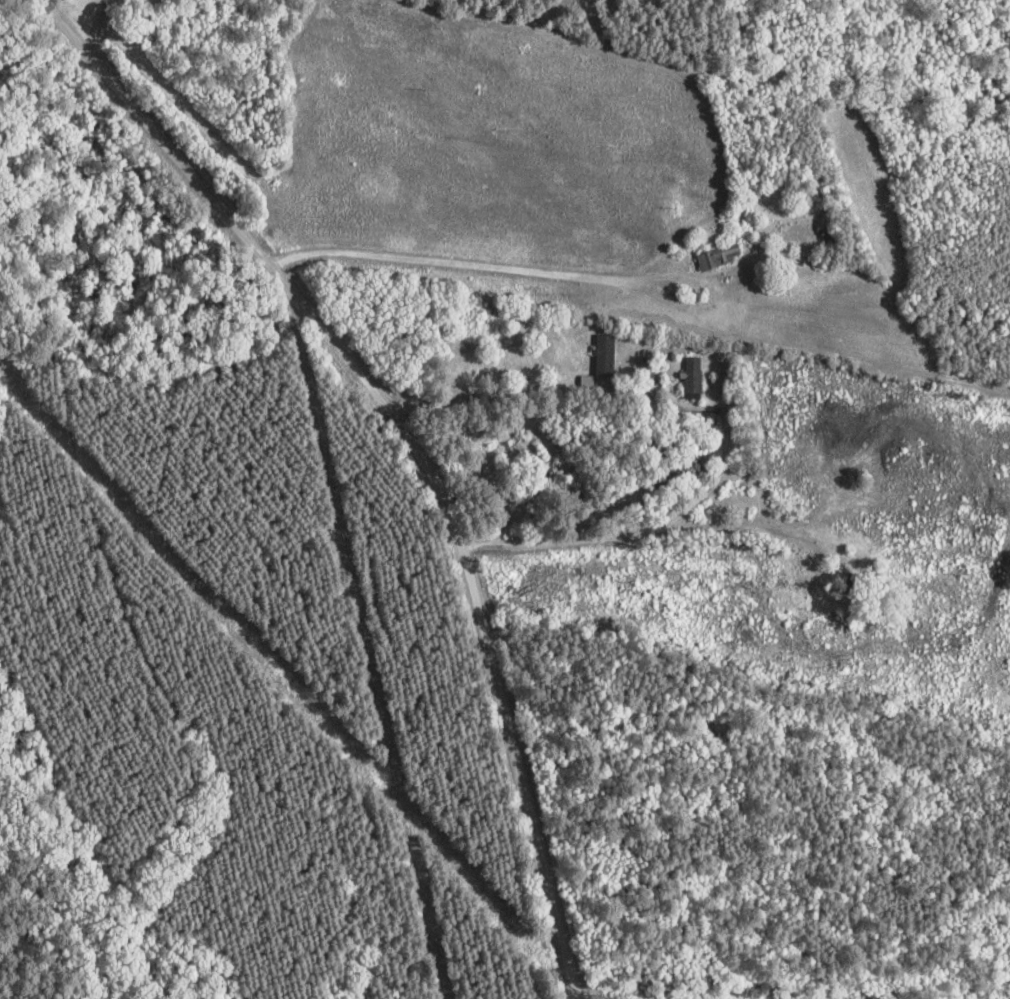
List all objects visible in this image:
road: (463, 106)
building: (830, 237)
building: (718, 256)
road: (565, 276)
building: (604, 354)
building: (692, 377)
road: (451, 445)
building: (528, 451)
road: (602, 550)

